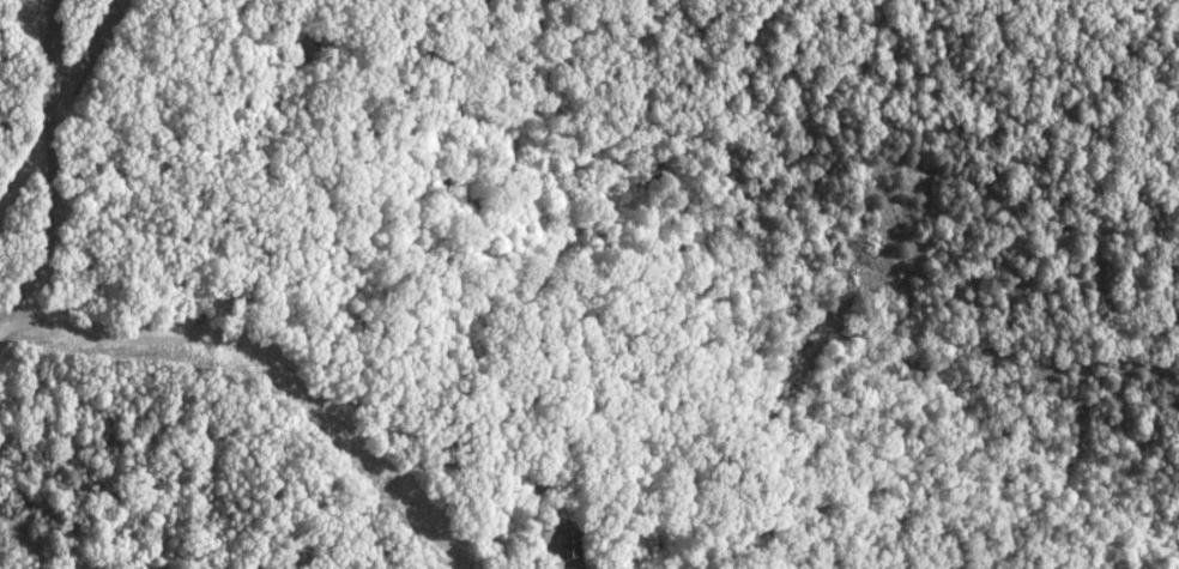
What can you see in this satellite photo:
road: (52, 169)
road: (288, 362)

